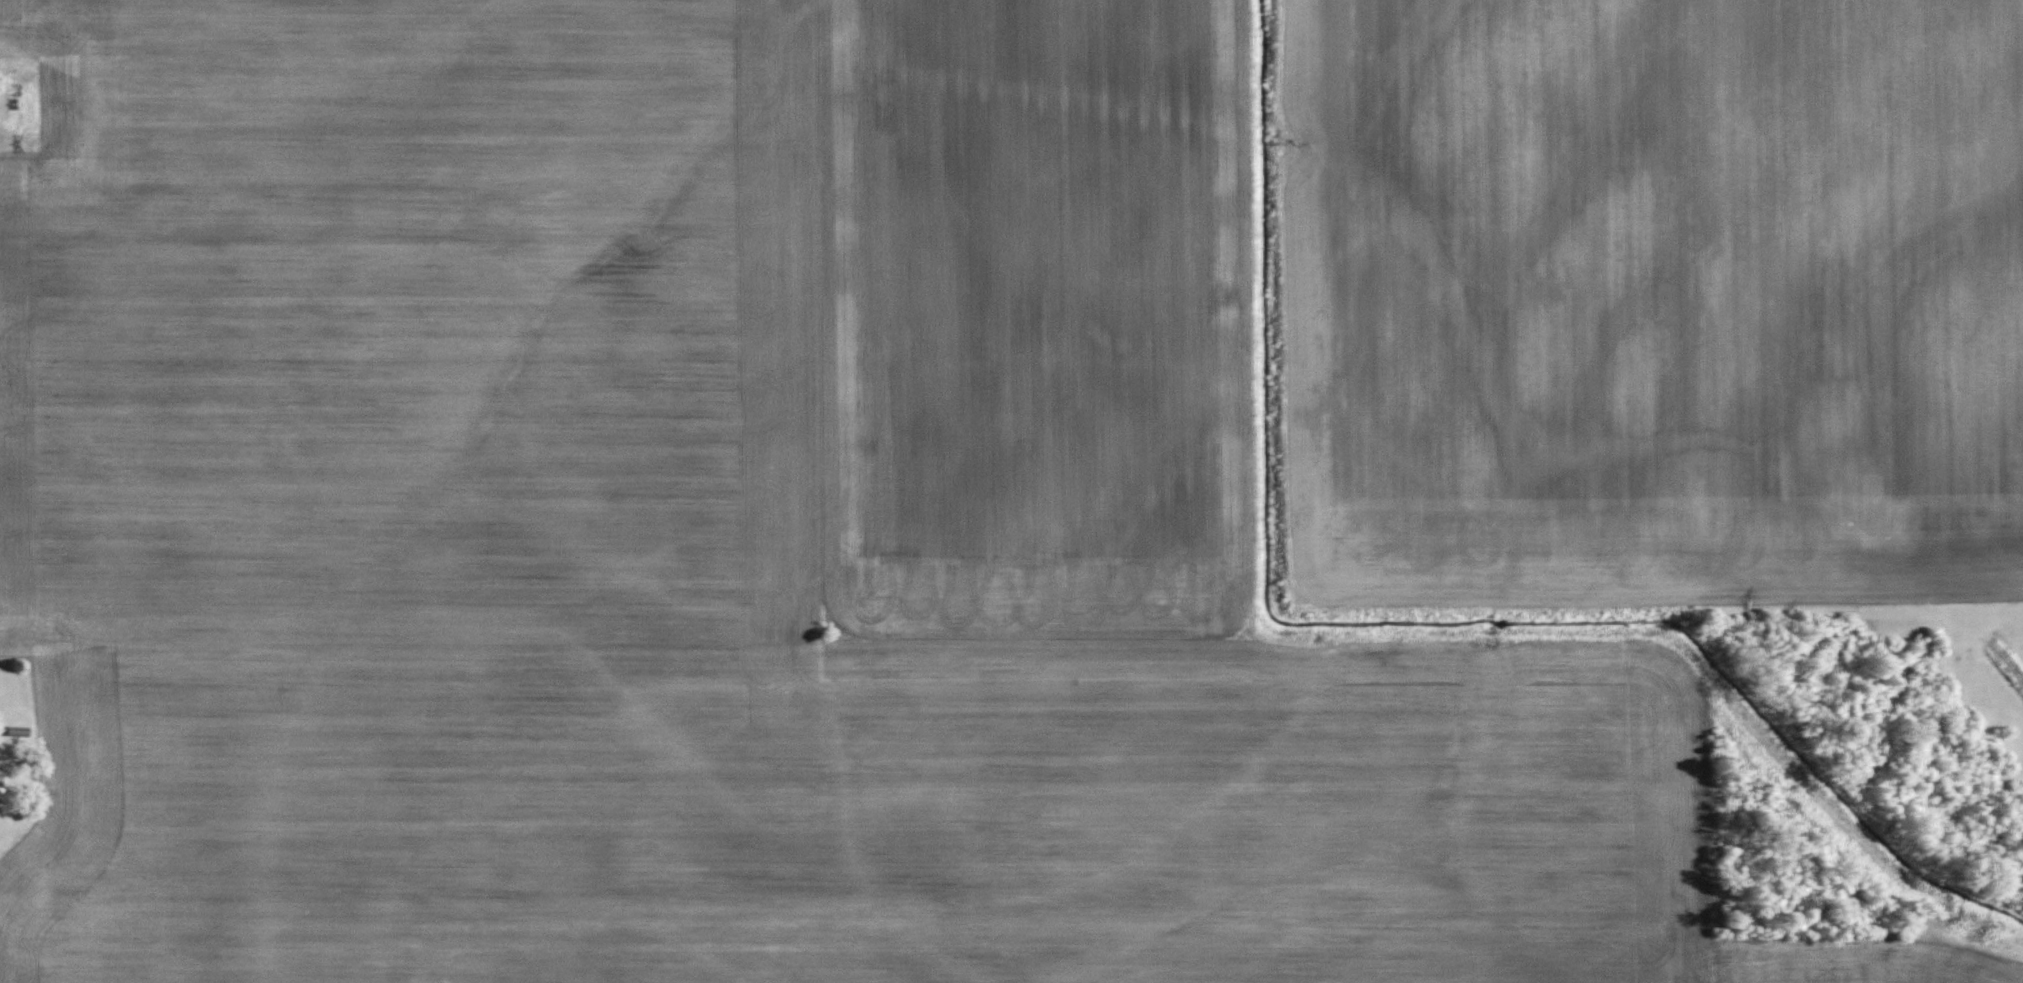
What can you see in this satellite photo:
building: (6, 89)
building: (0, 783)

